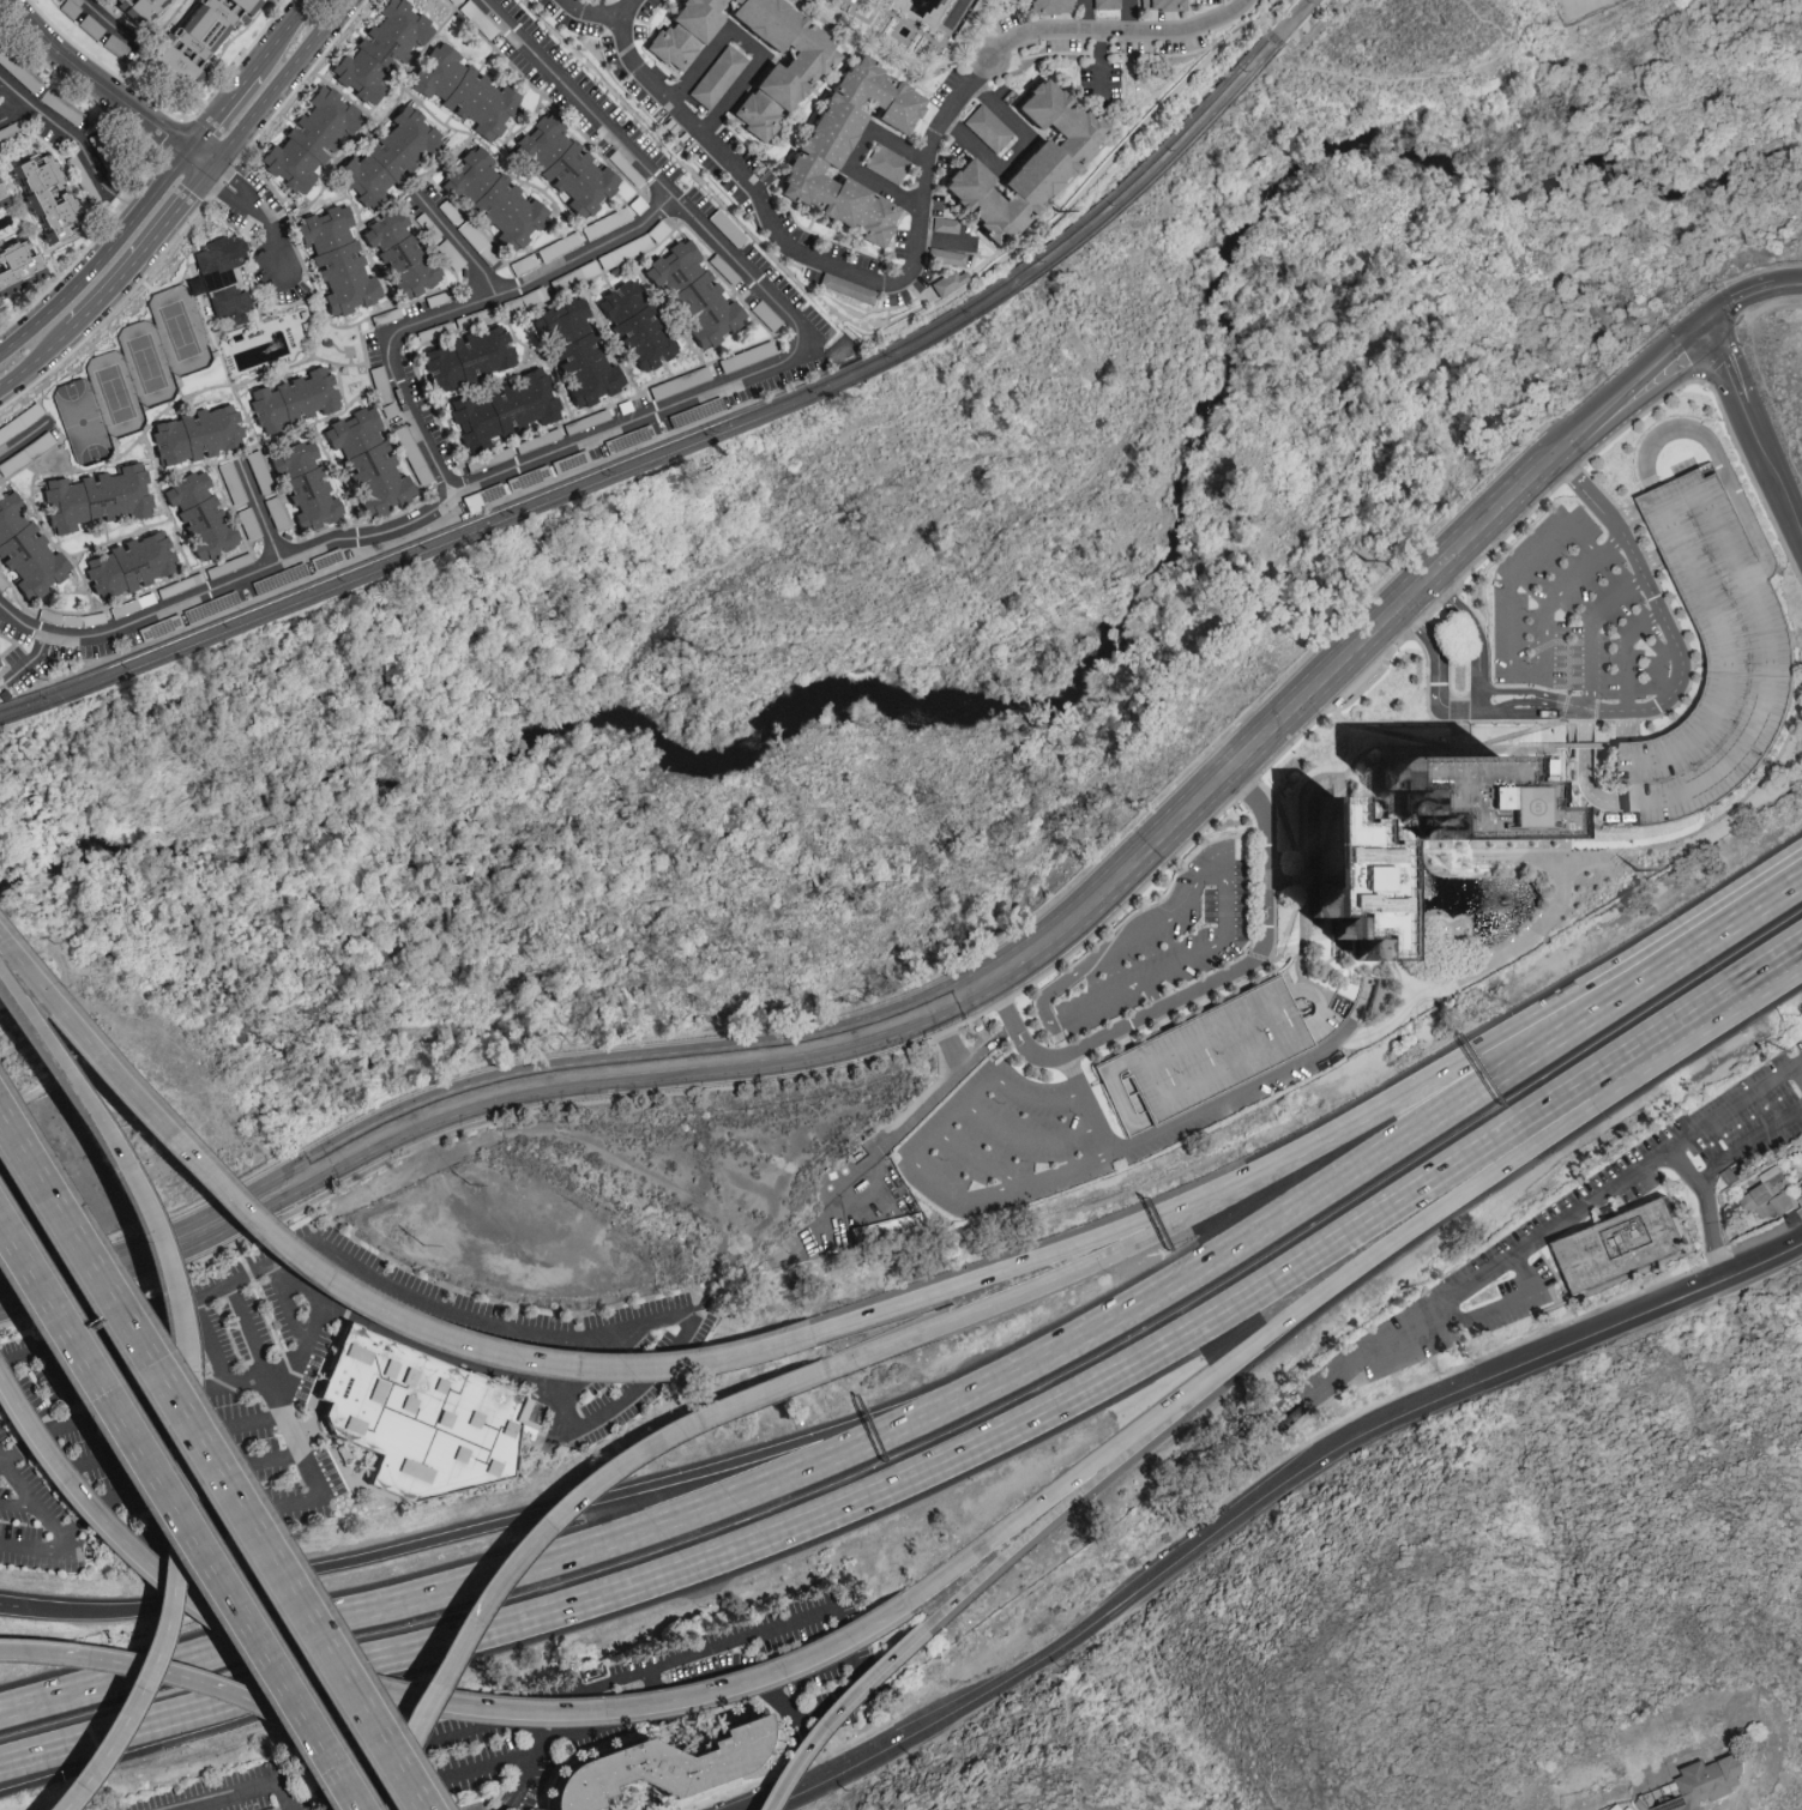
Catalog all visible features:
building: (1105, 2)
building: (1158, 5)
building: (916, 6)
building: (1049, 6)
building: (68, 7)
road: (626, 10)
building: (138, 11)
road: (1135, 13)
road: (1085, 14)
railway: (1294, 17)
railway: (1304, 20)
road: (112, 22)
building: (204, 26)
road: (1120, 26)
building: (682, 31)
railway: (1273, 31)
road: (284, 36)
road: (747, 47)
building: (378, 49)
railway: (1294, 52)
road: (1097, 55)
building: (173, 67)
building: (716, 77)
road: (279, 85)
road: (104, 89)
building: (773, 89)
building: (462, 91)
road: (16, 111)
road: (222, 113)
road: (64, 127)
building: (987, 127)
building: (307, 138)
building: (820, 149)
road: (1015, 151)
road: (857, 155)
building: (386, 156)
building: (886, 163)
building: (1024, 164)
railway: (1153, 164)
building: (561, 165)
railway: (1159, 171)
building: (2, 198)
building: (493, 198)
building: (43, 201)
road: (125, 204)
road: (254, 210)
power tower: (1061, 213)
building: (944, 224)
road: (453, 245)
road: (143, 251)
road: (796, 251)
building: (399, 254)
building: (946, 257)
building: (335, 259)
road: (98, 260)
building: (19, 266)
building: (218, 277)
building: (948, 282)
road: (1790, 284)
building: (691, 294)
road: (1737, 298)
road: (453, 306)
traffic signals: (1704, 324)
building: (634, 326)
park: (183, 331)
road: (1717, 349)
building: (575, 351)
building: (465, 357)
road: (37, 361)
park: (150, 364)
road: (1626, 386)
park: (119, 396)
building: (291, 398)
building: (502, 409)
park: (86, 422)
road: (627, 423)
building: (194, 434)
road: (22, 442)
road: (1766, 454)
building: (366, 463)
building: (303, 484)
building: (94, 497)
railway: (514, 511)
road: (263, 514)
building: (198, 515)
railway: (517, 520)
building: (25, 551)
power tower: (1368, 562)
building: (128, 565)
road: (1641, 626)
road: (1587, 632)
road: (1566, 634)
road: (1677, 653)
road: (1625, 657)
parking lot: (1712, 657)
road: (1512, 666)
river: (994, 677)
road: (1478, 714)
building: (1463, 796)
power tower: (1640, 873)
building: (1344, 881)
road: (1756, 899)
road: (1145, 930)
road: (1669, 952)
road: (1198, 987)
road: (1153, 993)
building: (1254, 994)
road: (1569, 1006)
road: (861, 1033)
road: (1676, 1036)
road: (946, 1039)
power tower: (1792, 1052)
parking lot: (1204, 1057)
road: (1800, 1068)
road: (1255, 1084)
road: (1416, 1090)
road: (921, 1110)
road: (1027, 1139)
road: (1748, 1144)
road: (113, 1146)
road: (1674, 1148)
road: (1367, 1162)
road: (956, 1194)
building: (1771, 1194)
building: (885, 1226)
road: (1069, 1248)
building: (1629, 1248)
road: (1074, 1271)
road: (1487, 1273)
road: (224, 1287)
road: (343, 1297)
road: (289, 1302)
road: (1467, 1316)
road: (113, 1343)
road: (1228, 1360)
road: (251, 1375)
road: (278, 1395)
building: (417, 1416)
road: (186, 1438)
road: (621, 1458)
road: (213, 1459)
road: (1, 1461)
road: (101, 1483)
road: (179, 1483)
road: (1097, 1485)
road: (1266, 1502)
road: (17, 1506)
road: (180, 1515)
road: (519, 1516)
road: (808, 1521)
road: (56, 1526)
road: (514, 1567)
road: (158, 1593)
road: (8, 1605)
road: (16, 1649)
road: (152, 1669)
road: (406, 1700)
road: (422, 1703)
road: (831, 1709)
road: (363, 1751)
road: (95, 1752)
building: (651, 1763)
building: (1704, 1782)
road: (251, 1797)
building: (1622, 1805)
building: (272, 1808)

